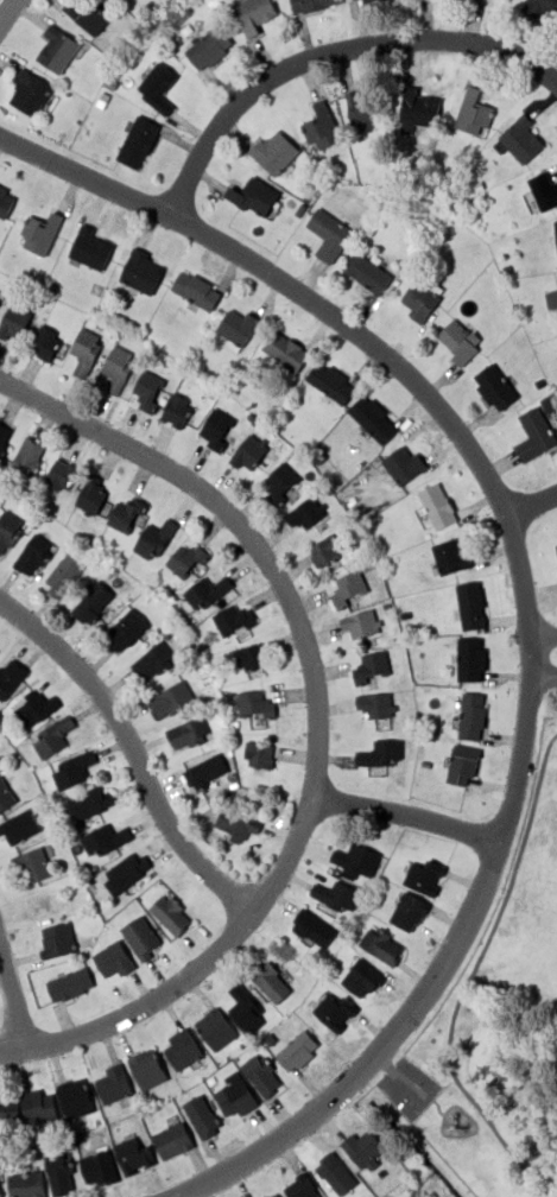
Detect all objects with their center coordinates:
building: (128, 1)
building: (365, 1)
building: (312, 5)
building: (545, 5)
road: (6, 9)
building: (88, 14)
building: (254, 15)
building: (188, 28)
road: (327, 49)
building: (209, 50)
building: (61, 51)
building: (114, 83)
building: (158, 88)
building: (29, 91)
building: (103, 101)
building: (419, 108)
building: (360, 112)
building: (476, 114)
building: (323, 126)
building: (138, 141)
building: (521, 141)
building: (278, 151)
building: (481, 186)
building: (539, 194)
building: (308, 195)
building: (374, 195)
building: (255, 196)
building: (7, 205)
building: (300, 211)
building: (556, 227)
building: (42, 234)
building: (329, 234)
building: (91, 248)
building: (507, 271)
building: (141, 272)
building: (371, 274)
road: (283, 285)
building: (52, 286)
building: (198, 291)
building: (0, 292)
building: (422, 300)
building: (553, 303)
building: (15, 319)
building: (100, 324)
building: (239, 328)
building: (461, 341)
building: (45, 344)
building: (87, 350)
building: (287, 351)
building: (118, 366)
building: (540, 382)
building: (330, 384)
building: (496, 388)
building: (148, 389)
building: (549, 404)
building: (177, 411)
building: (374, 420)
building: (216, 431)
building: (4, 436)
building: (536, 436)
building: (249, 452)
building: (29, 455)
building: (404, 465)
building: (62, 474)
building: (283, 486)
building: (91, 494)
building: (10, 495)
road: (530, 501)
building: (438, 508)
building: (304, 513)
building: (126, 514)
building: (342, 519)
building: (8, 530)
building: (156, 538)
building: (556, 544)
building: (555, 552)
building: (325, 553)
building: (33, 556)
building: (121, 559)
building: (451, 559)
building: (185, 560)
building: (64, 575)
road: (279, 585)
building: (348, 588)
building: (209, 590)
building: (468, 601)
building: (93, 602)
building: (385, 606)
building: (406, 614)
building: (234, 619)
building: (360, 625)
building: (127, 629)
road: (543, 645)
building: (249, 654)
building: (470, 655)
building: (152, 660)
road: (543, 664)
building: (371, 669)
building: (11, 676)
building: (211, 696)
building: (173, 701)
building: (379, 701)
building: (257, 704)
building: (33, 705)
building: (470, 712)
building: (235, 723)
building: (430, 729)
building: (53, 734)
building: (188, 734)
road: (133, 752)
building: (379, 752)
building: (260, 754)
building: (461, 761)
building: (204, 765)
building: (426, 765)
building: (71, 766)
building: (7, 793)
building: (90, 799)
road: (406, 813)
building: (236, 821)
building: (20, 824)
building: (101, 835)
building: (353, 861)
building: (36, 864)
building: (125, 864)
building: (423, 874)
building: (333, 894)
building: (406, 907)
building: (167, 910)
road: (468, 913)
building: (312, 924)
building: (141, 935)
building: (56, 936)
building: (380, 942)
building: (114, 955)
building: (361, 975)
road: (470, 976)
building: (271, 980)
building: (70, 981)
road: (11, 995)
building: (243, 1003)
road: (140, 1011)
building: (333, 1011)
park: (494, 1021)
building: (215, 1026)
building: (182, 1045)
building: (296, 1045)
building: (146, 1065)
building: (261, 1071)
road: (400, 1077)
building: (113, 1082)
building: (234, 1091)
building: (74, 1095)
building: (5, 1098)
building: (36, 1101)
road: (556, 1106)
road: (413, 1110)
building: (8, 1111)
building: (200, 1114)
building: (171, 1136)
building: (361, 1145)
building: (133, 1151)
building: (99, 1165)
building: (59, 1172)
building: (338, 1172)
building: (24, 1182)
building: (303, 1185)
building: (0, 1191)
building: (273, 1195)
building: (279, 1195)
building: (265, 1196)

